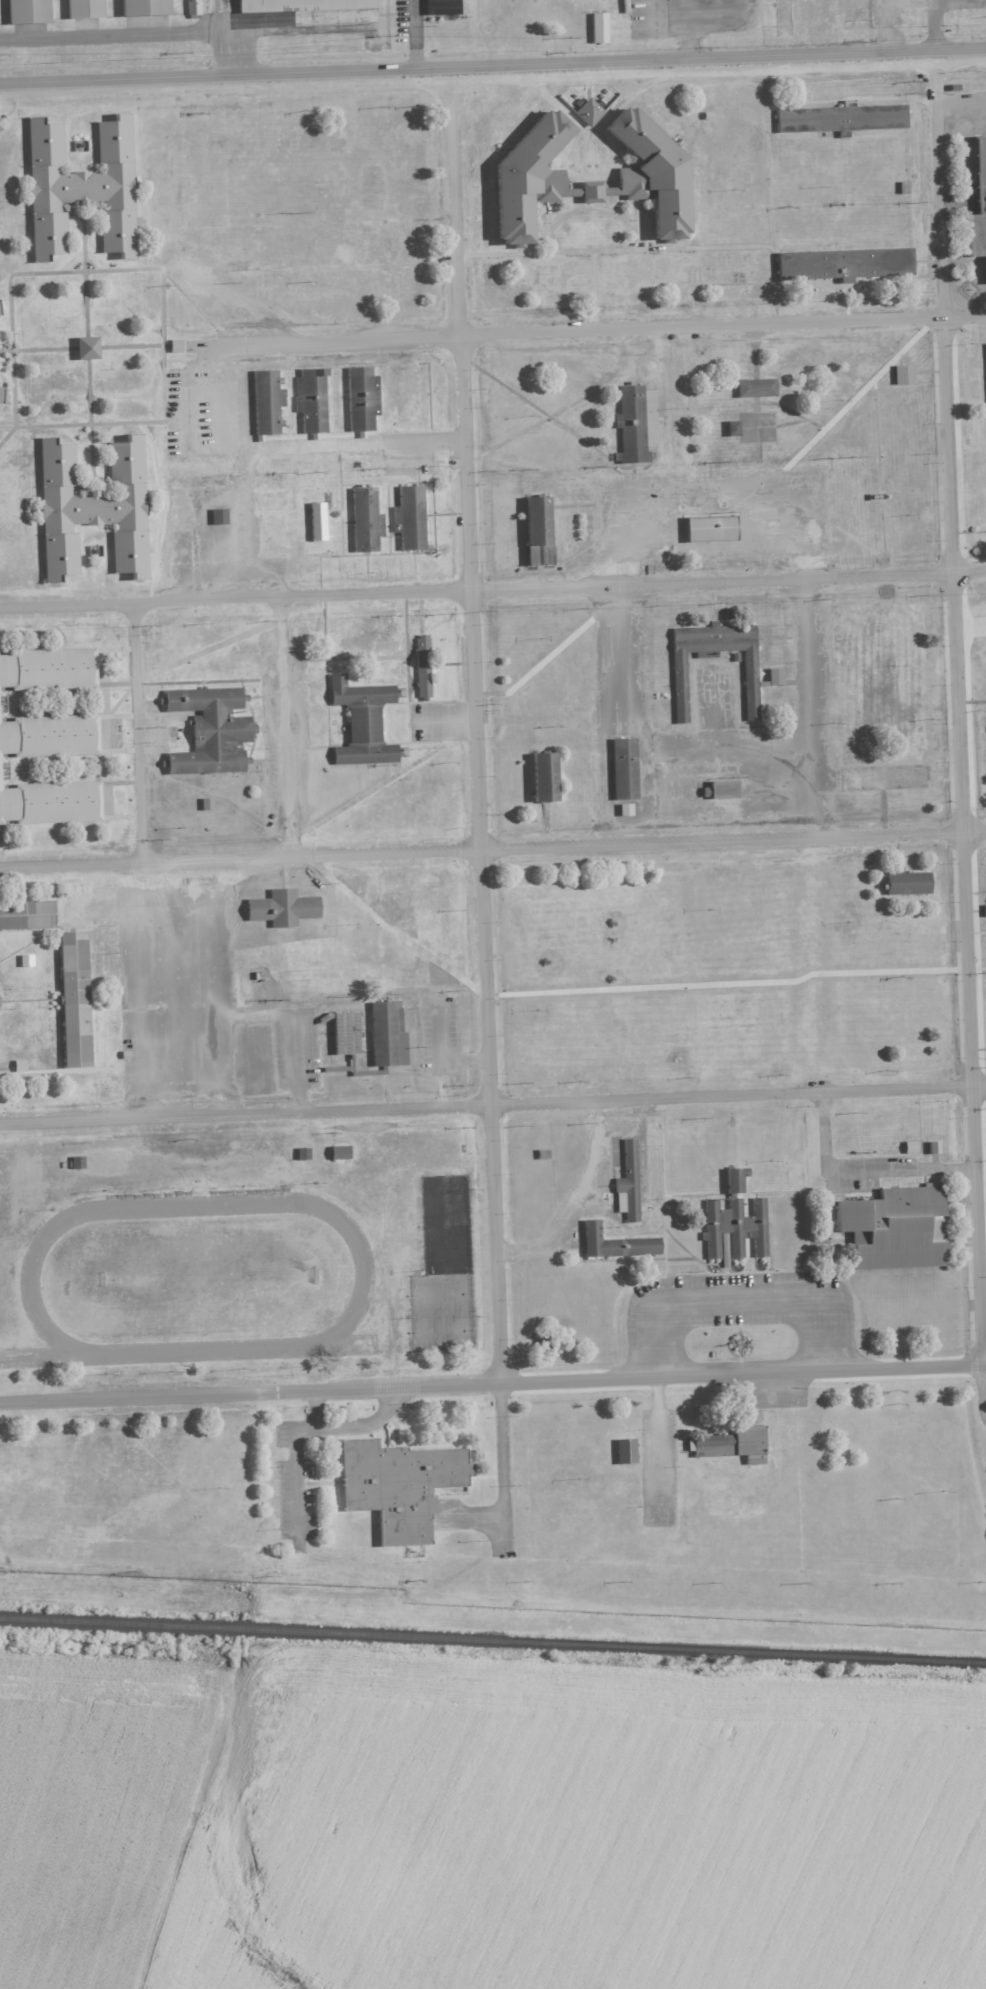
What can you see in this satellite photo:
airport taxiway: (221, 5)
airport hangar: (301, 5)
building: (301, 5)
airport hangar: (142, 7)
building: (142, 7)
building: (193, 7)
building: (442, 7)
airport hangar: (82, 8)
building: (82, 8)
airport hangar: (26, 11)
building: (26, 11)
building: (275, 22)
road: (933, 24)
building: (600, 27)
road: (416, 34)
road: (137, 35)
airport: (452, 36)
road: (492, 65)
road: (493, 78)
road: (961, 104)
building: (589, 111)
building: (839, 120)
building: (0, 123)
road: (598, 129)
building: (648, 174)
building: (530, 176)
building: (77, 188)
building: (977, 206)
building: (841, 265)
road: (586, 329)
building: (173, 346)
building: (84, 348)
building: (901, 376)
building: (754, 388)
building: (0, 397)
building: (360, 399)
building: (310, 402)
building: (264, 404)
building: (629, 426)
building: (730, 430)
road: (360, 441)
road: (949, 447)
road: (466, 464)
building: (91, 509)
building: (219, 516)
building: (407, 519)
building: (318, 521)
building: (363, 521)
building: (707, 529)
building: (536, 536)
road: (492, 590)
building: (421, 667)
building: (47, 669)
building: (677, 687)
building: (360, 723)
road: (285, 726)
road: (137, 732)
building: (208, 732)
building: (48, 736)
building: (621, 769)
building: (541, 779)
building: (724, 789)
building: (50, 803)
building: (207, 803)
building: (626, 810)
road: (492, 848)
building: (905, 883)
building: (280, 909)
building: (985, 910)
building: (25, 916)
building: (24, 961)
road: (813, 966)
building: (72, 1000)
building: (344, 1034)
building: (385, 1036)
road: (440, 1050)
road: (465, 1059)
road: (297, 1060)
building: (17, 1066)
road: (974, 1098)
road: (492, 1104)
road: (491, 1115)
building: (935, 1147)
building: (340, 1152)
road: (865, 1173)
building: (627, 1182)
park: (16, 1197)
building: (733, 1222)
building: (892, 1229)
building: (613, 1246)
park: (201, 1280)
track: (27, 1283)
park: (439, 1296)
road: (730, 1298)
park: (441, 1332)
road: (493, 1382)
road: (315, 1409)
road: (309, 1428)
building: (317, 1445)
building: (729, 1446)
building: (623, 1452)
road: (500, 1467)
building: (397, 1488)
railway: (493, 1639)

